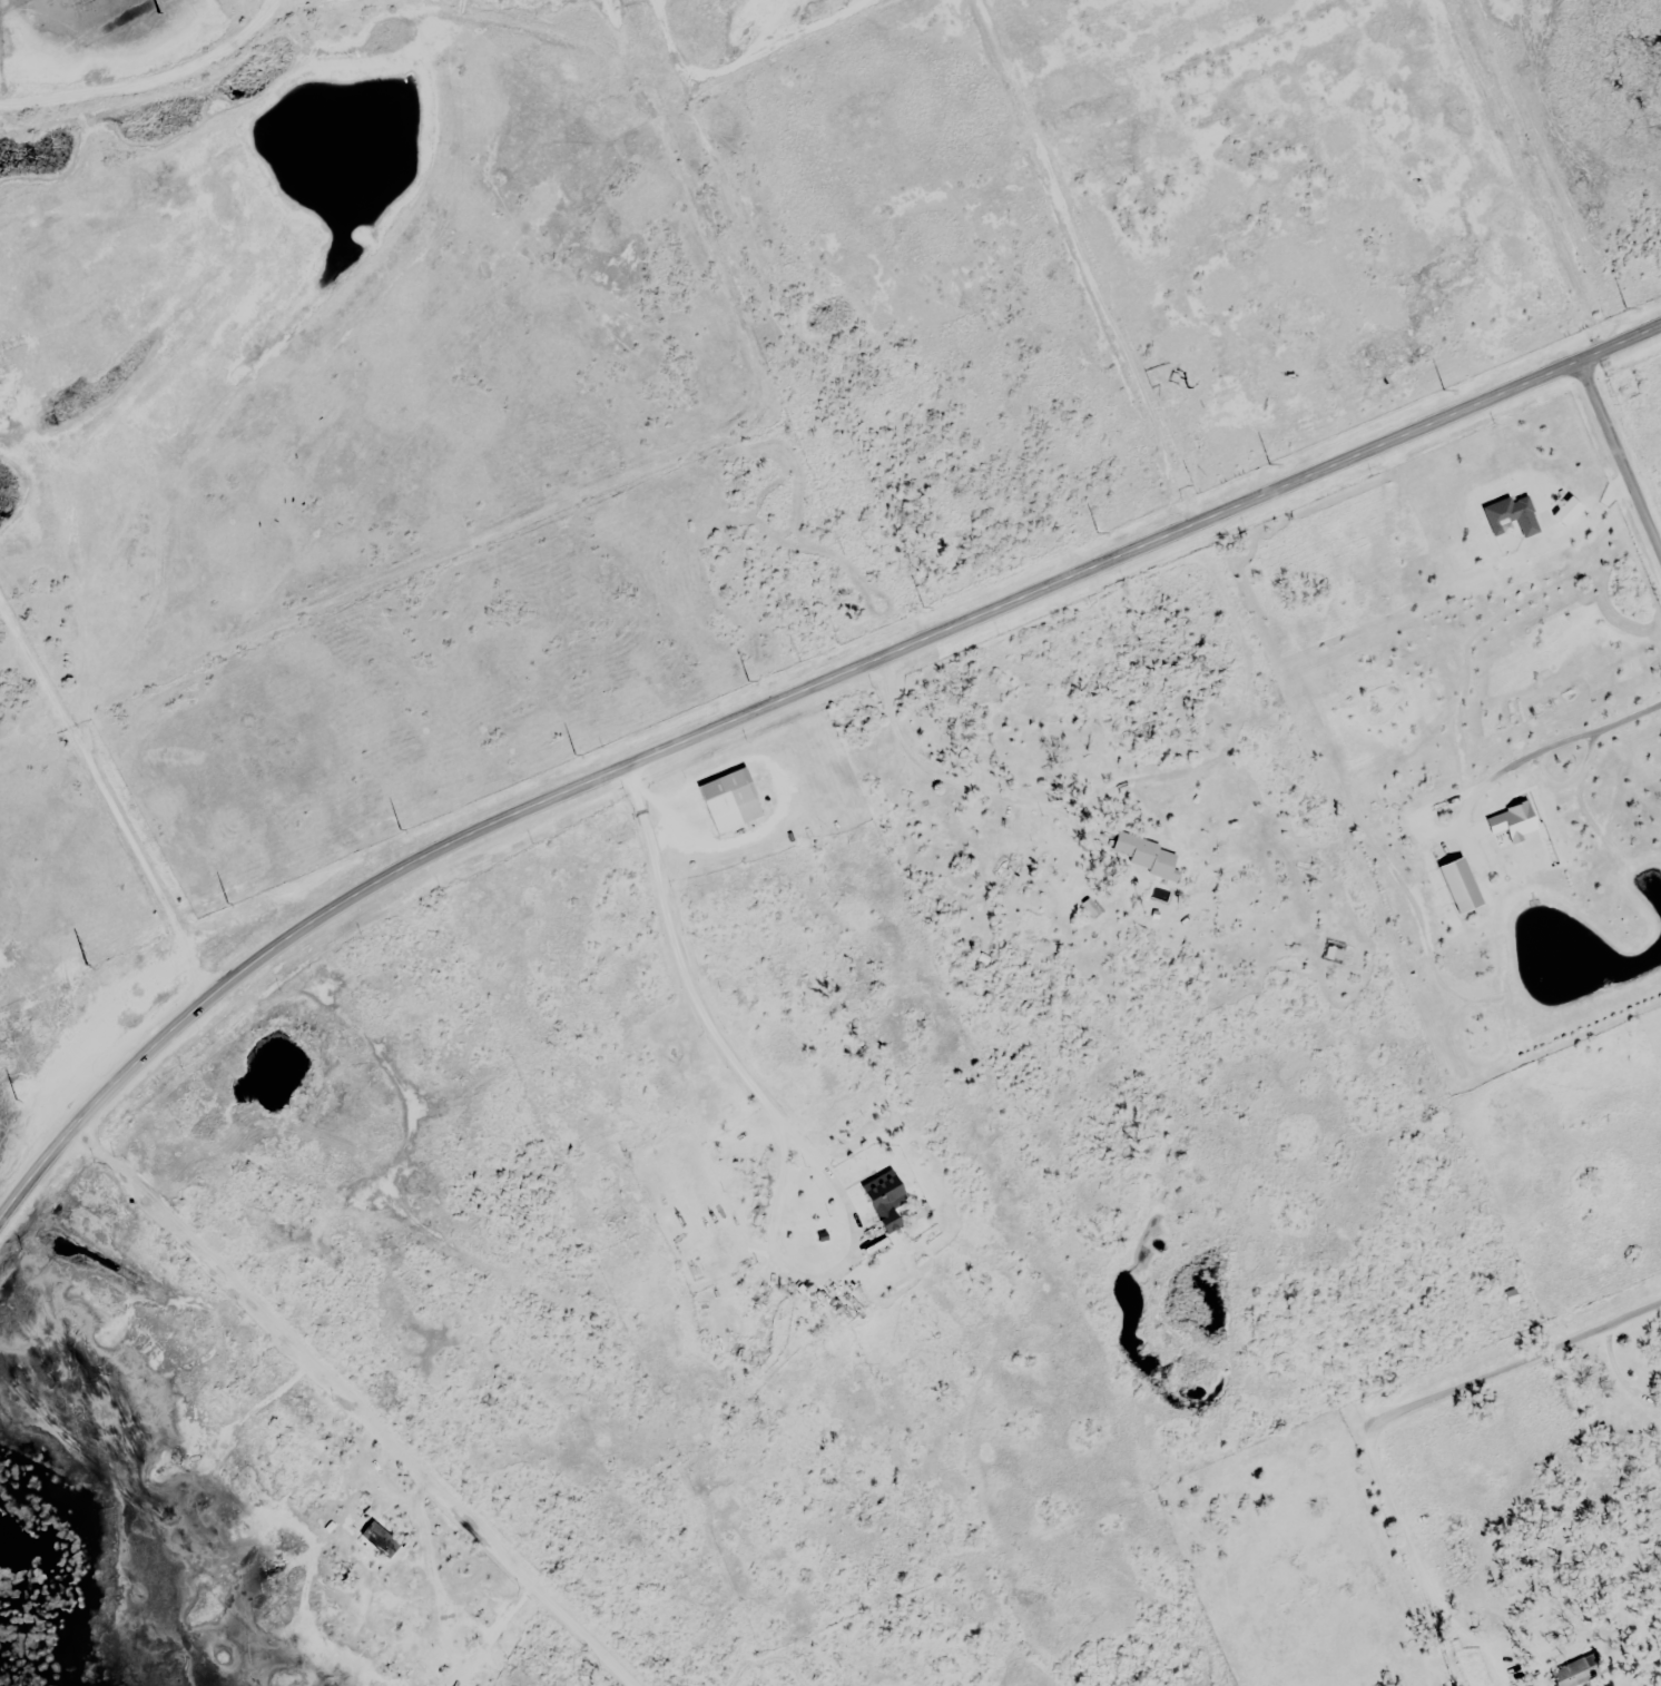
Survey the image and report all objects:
building: (332, 0)
road: (1620, 457)
road: (783, 698)
building: (730, 799)
building: (1149, 855)
building: (1006, 872)
building: (1465, 887)
building: (888, 1200)
building: (766, 1293)
building: (848, 1308)
road: (1517, 1355)
road: (350, 1407)
building: (416, 1604)
building: (1566, 1676)

